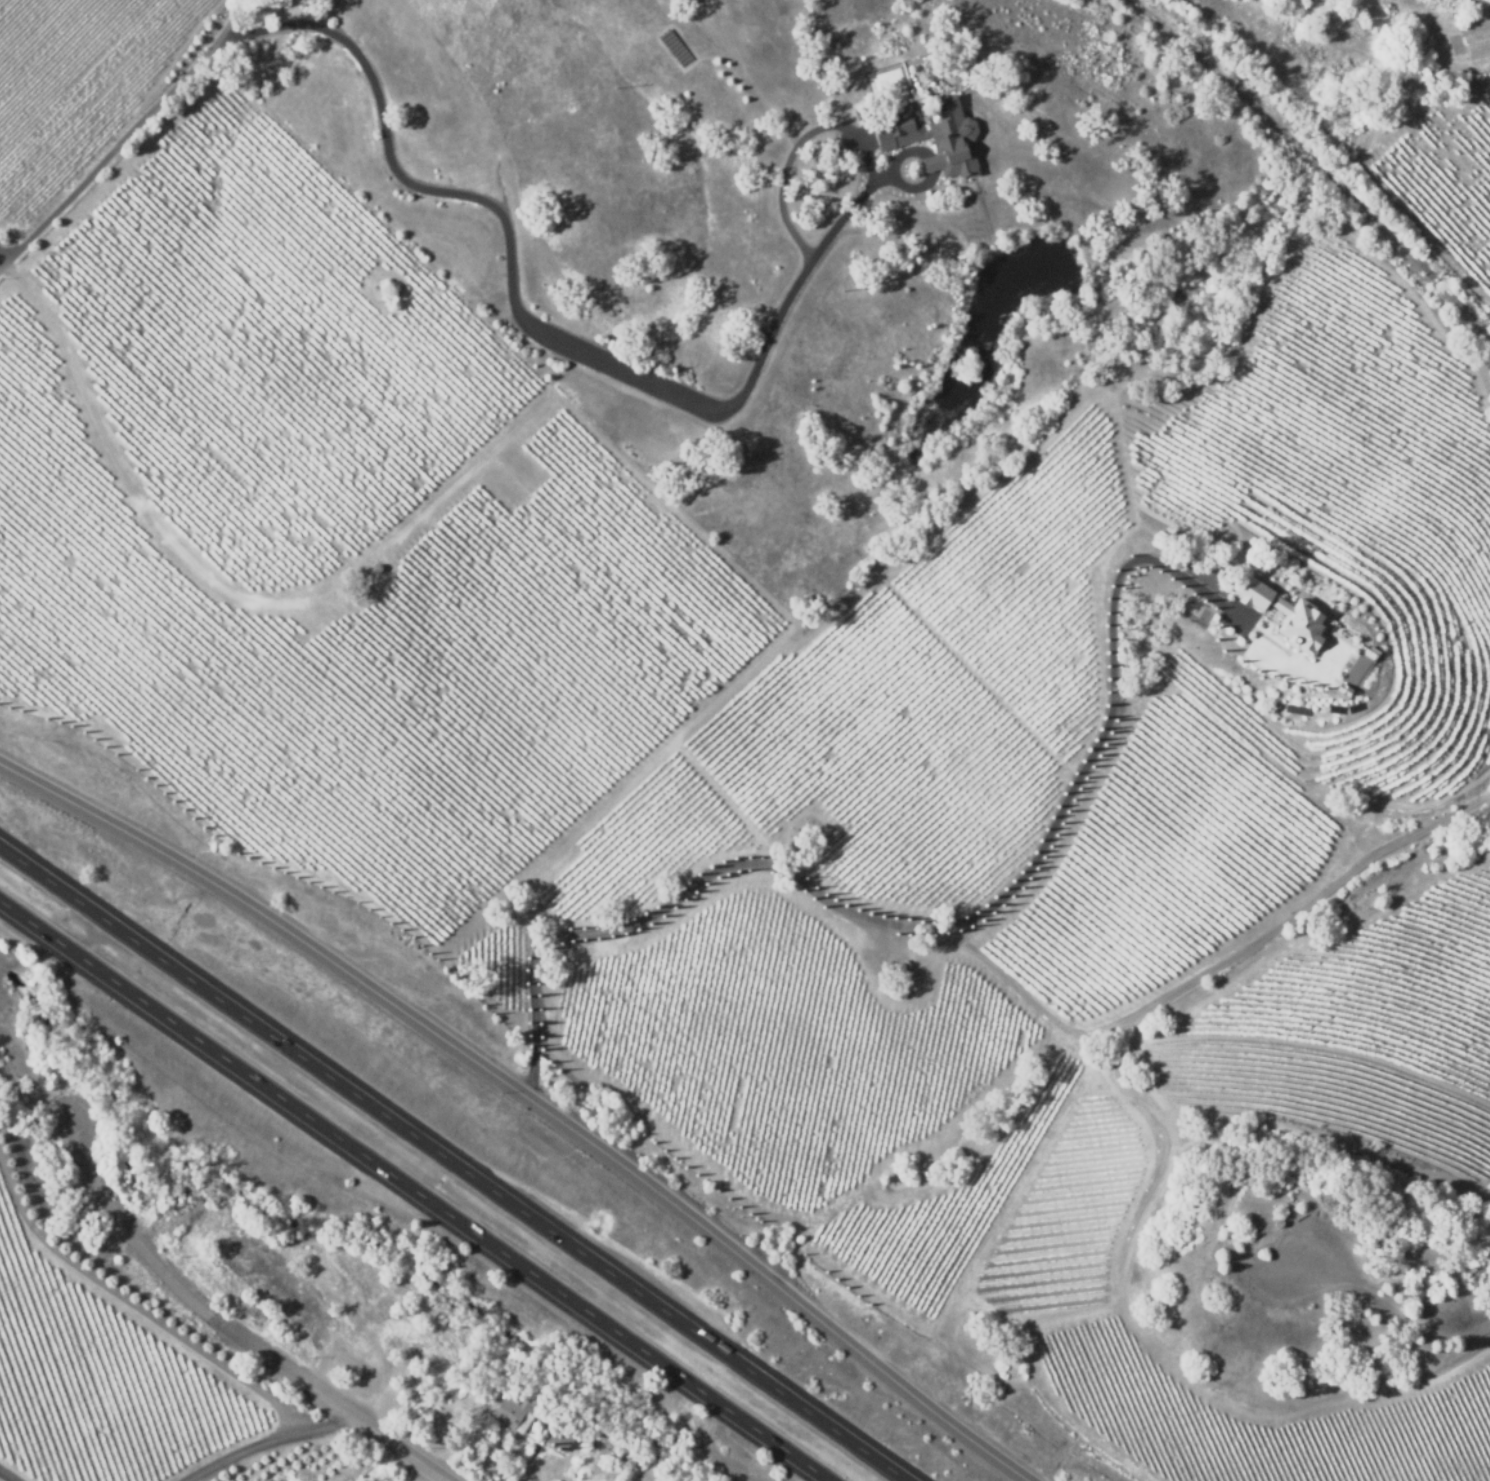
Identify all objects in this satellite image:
building: (682, 1)
building: (688, 2)
building: (927, 134)
road: (127, 148)
railway: (1316, 163)
road: (6, 262)
building: (377, 567)
building: (1287, 615)
building: (905, 966)
road: (525, 1106)
road: (451, 1163)
road: (410, 1193)
building: (1280, 1220)
road: (233, 1331)
building: (522, 1408)
building: (560, 1438)
road: (277, 1443)
building: (624, 1456)

